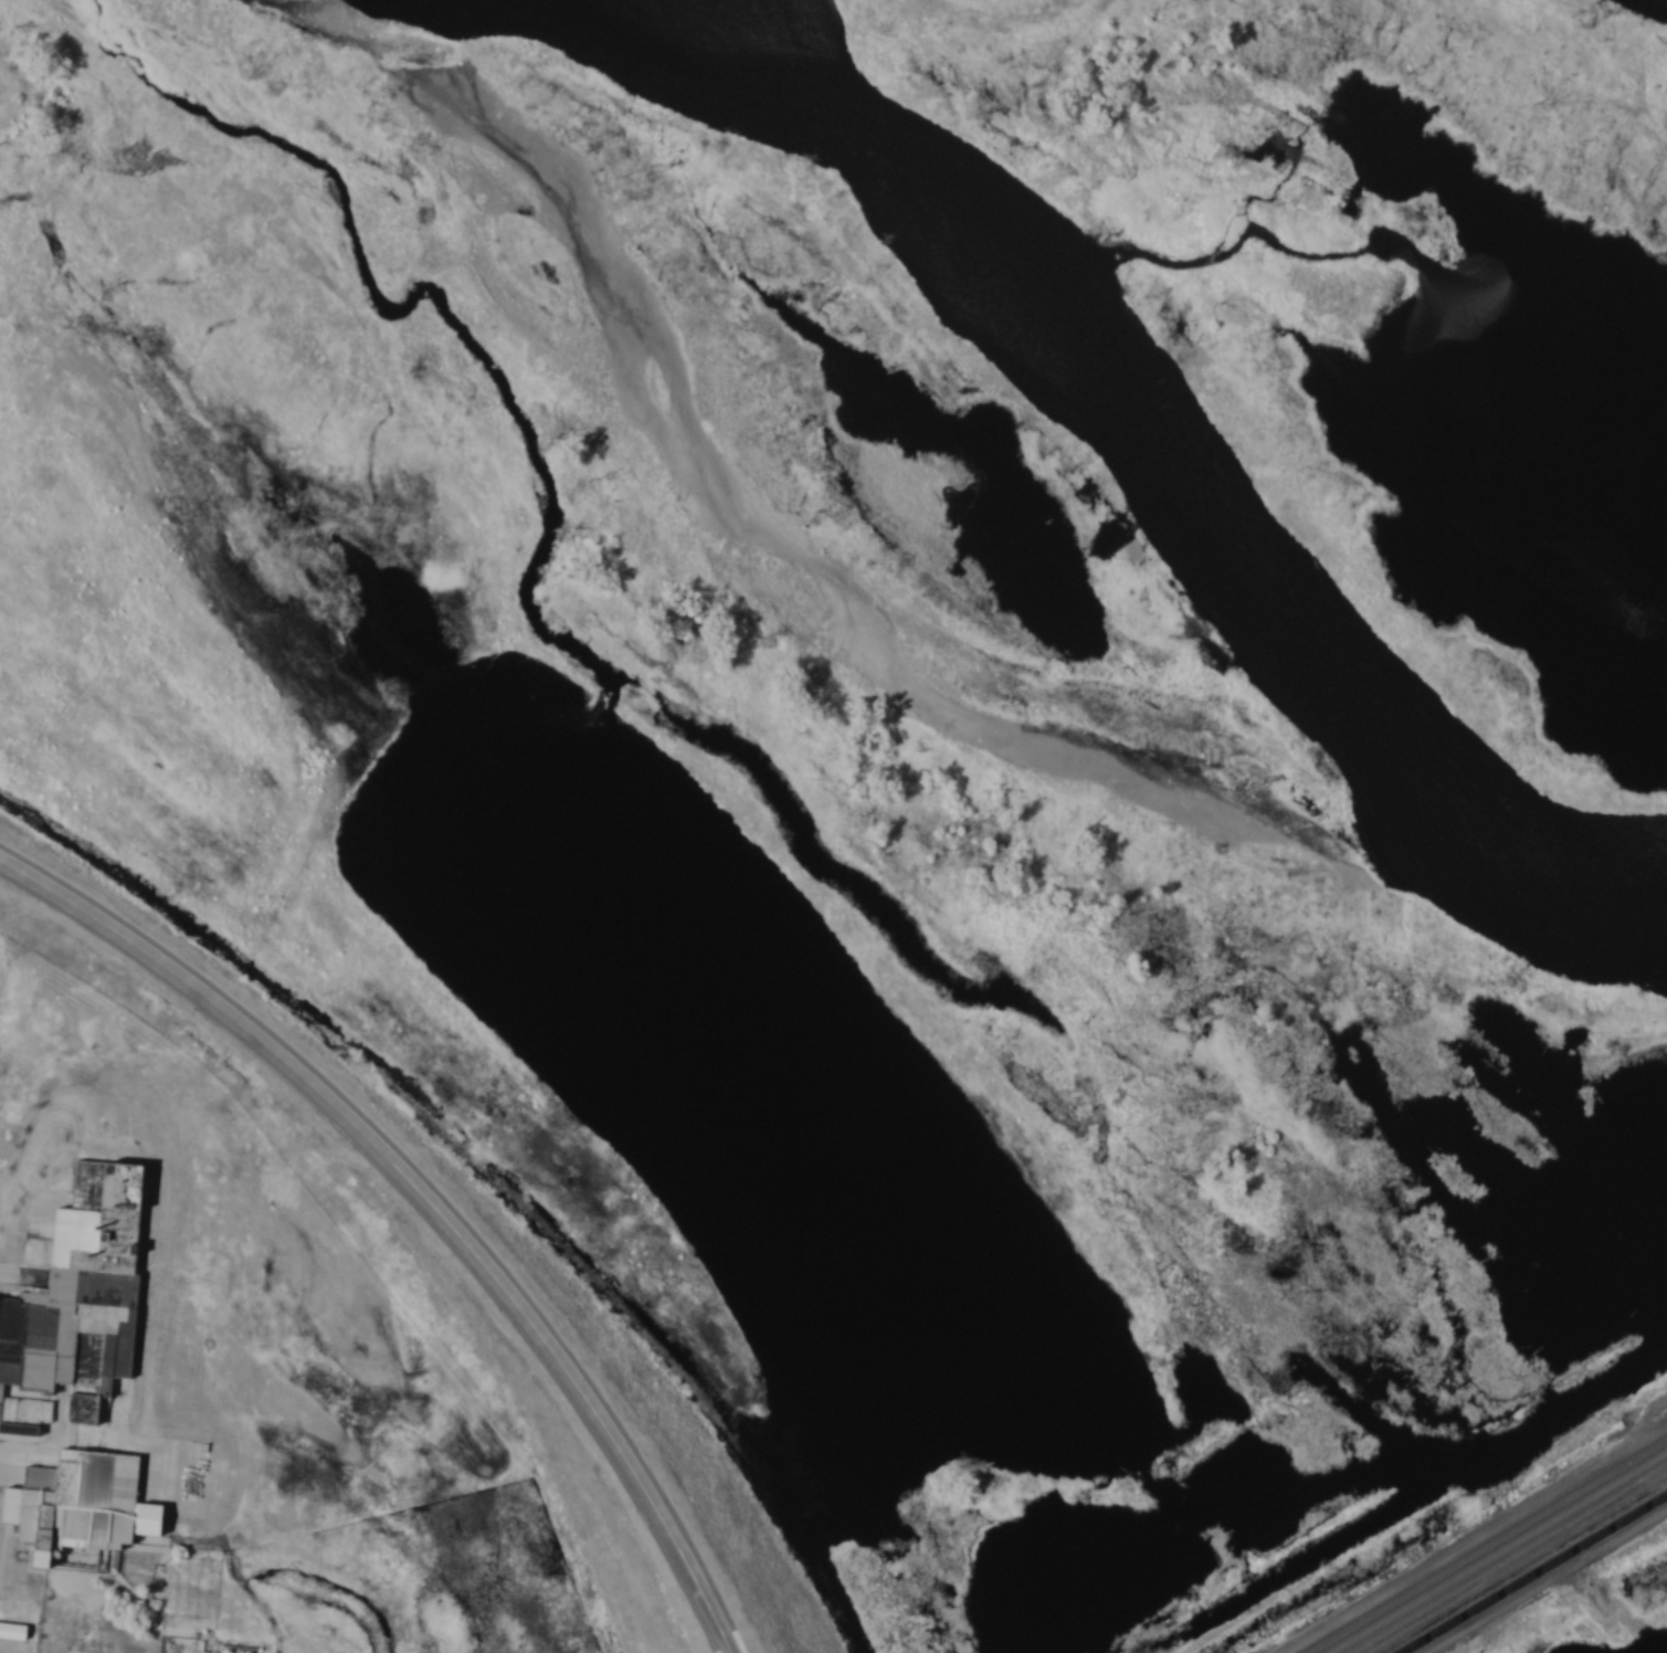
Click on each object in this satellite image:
river: (1148, 461)
road: (33, 1168)
road: (428, 1198)
building: (82, 1376)
railway: (1490, 1547)
railway: (1501, 1555)
railway: (1533, 1573)
building: (14, 1632)
building: (256, 1649)

